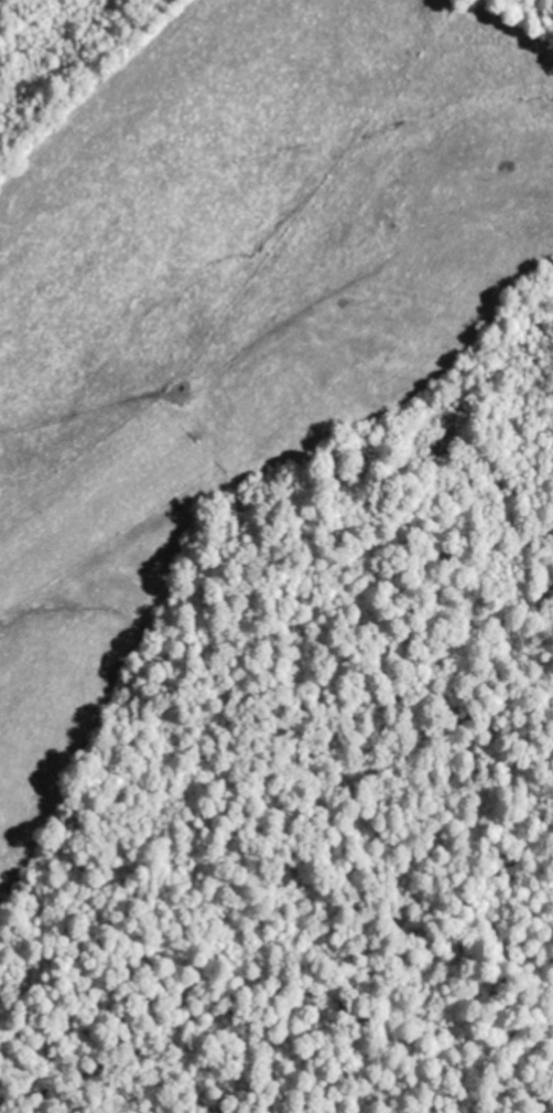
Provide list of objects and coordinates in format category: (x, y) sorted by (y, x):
airport runway: (94, 512)

